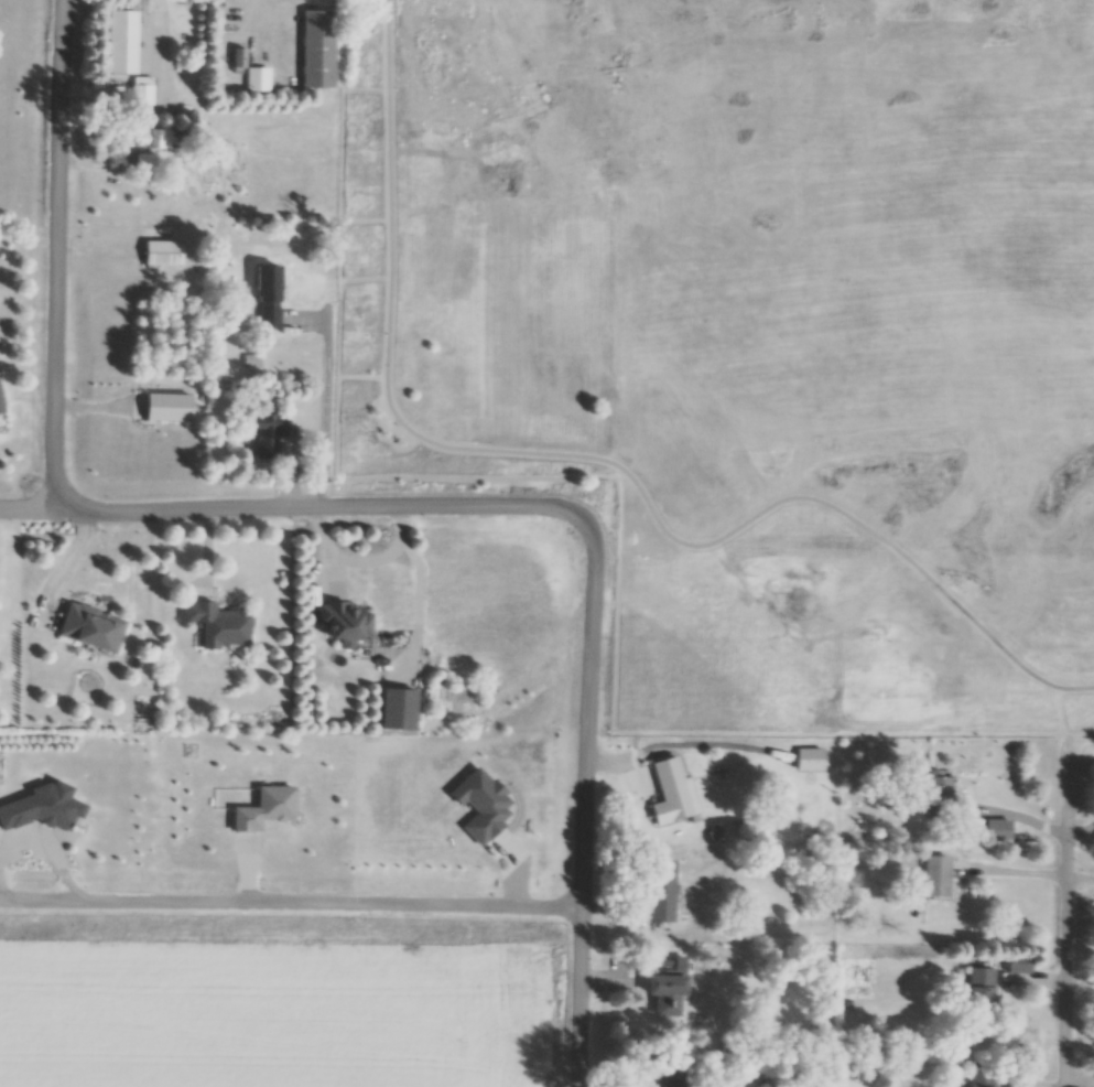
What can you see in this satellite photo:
building: (123, 44)
building: (321, 51)
building: (259, 82)
building: (144, 93)
building: (151, 140)
building: (148, 165)
building: (165, 255)
building: (270, 299)
park: (749, 335)
building: (1, 405)
building: (277, 439)
road: (589, 459)
road: (356, 508)
road: (41, 510)
building: (220, 624)
building: (348, 624)
building: (93, 628)
building: (811, 761)
road: (1068, 783)
building: (674, 792)
building: (941, 794)
building: (938, 878)
building: (663, 892)
road: (290, 905)
road: (1063, 957)
building: (1022, 966)
building: (670, 992)
building: (983, 1001)
building: (983, 1078)

